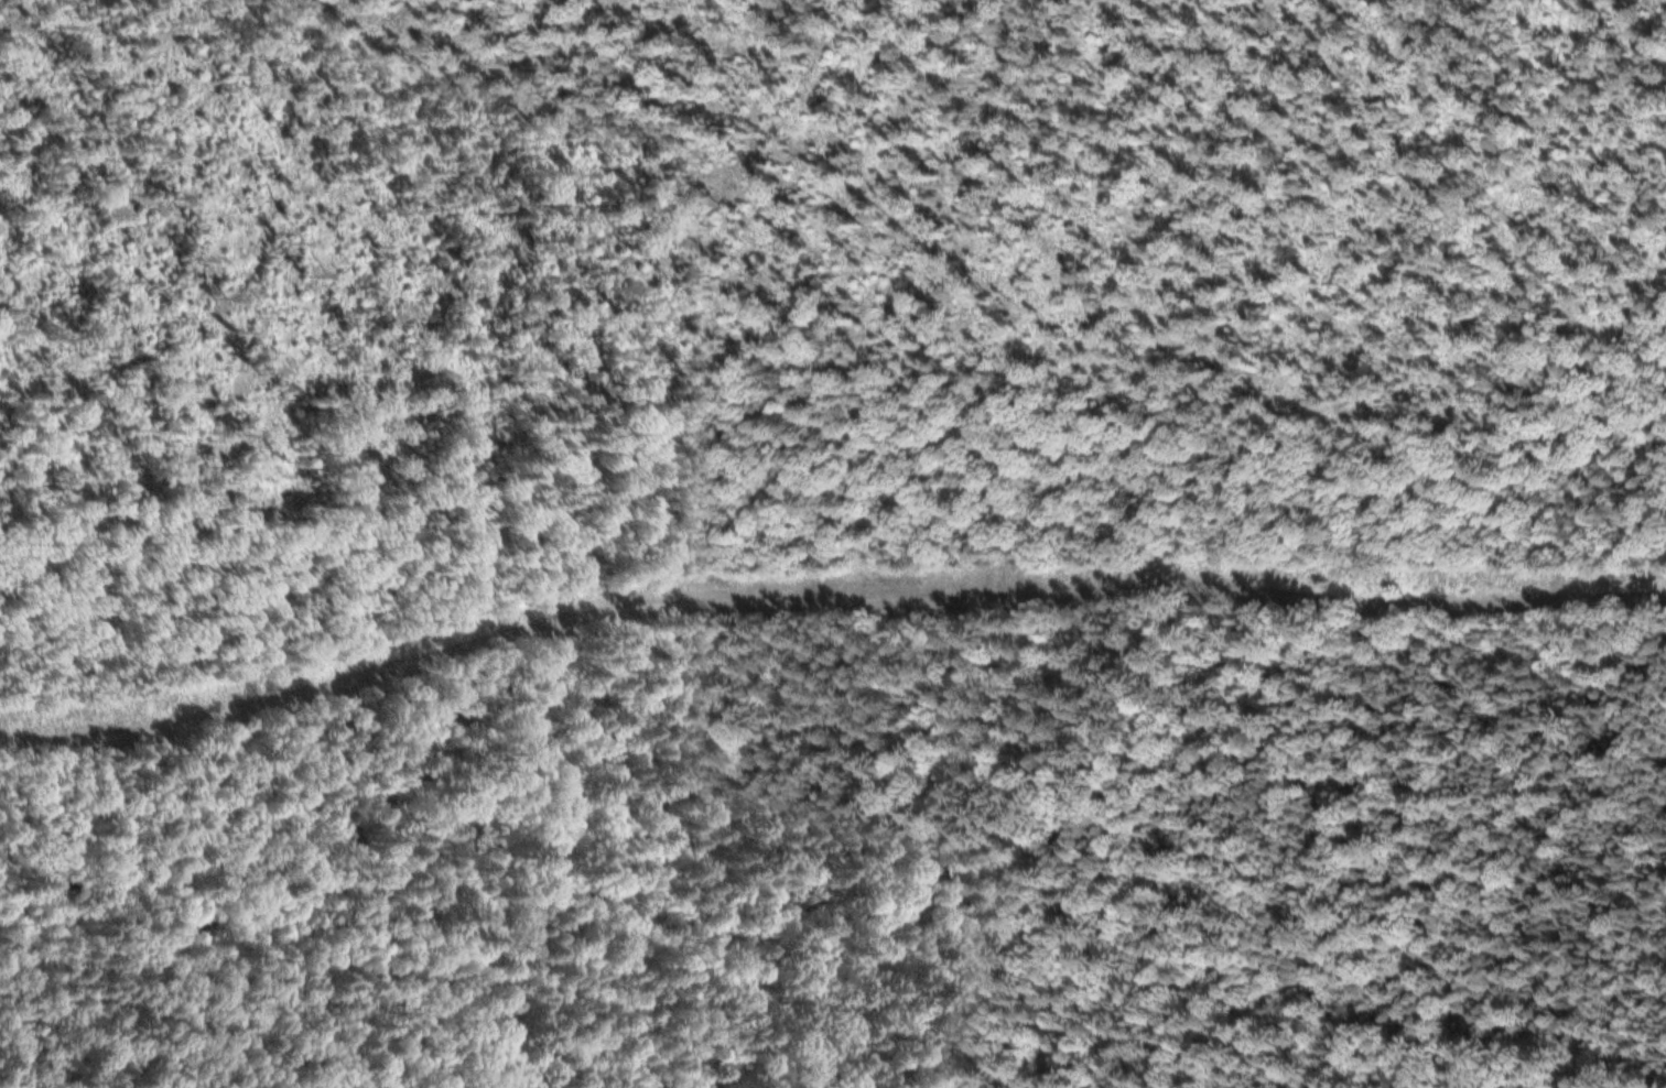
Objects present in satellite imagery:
road: (824, 603)

